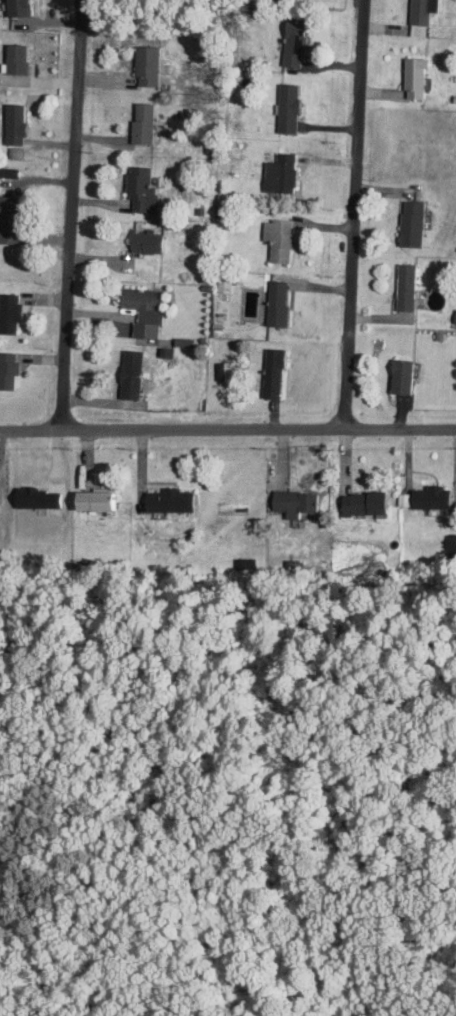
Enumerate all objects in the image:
building: (15, 7)
building: (419, 10)
building: (291, 42)
building: (14, 57)
building: (145, 64)
building: (412, 76)
building: (286, 106)
building: (12, 122)
building: (140, 122)
building: (278, 172)
building: (138, 187)
road: (355, 215)
road: (72, 216)
building: (410, 222)
building: (277, 238)
building: (144, 240)
building: (404, 285)
building: (275, 302)
building: (141, 309)
building: (8, 311)
building: (454, 315)
building: (7, 368)
building: (271, 372)
building: (398, 375)
road: (227, 430)
building: (427, 496)
building: (87, 499)
building: (166, 499)
building: (291, 501)
building: (360, 502)

